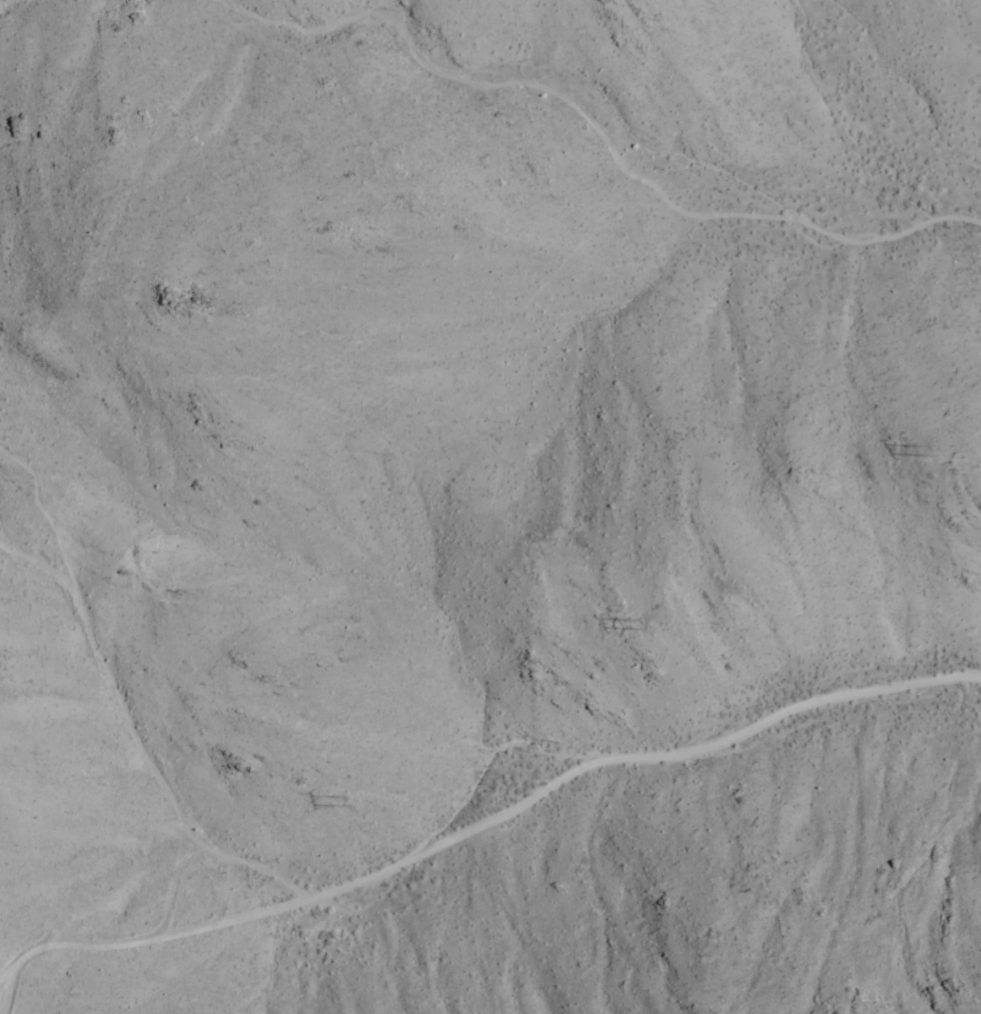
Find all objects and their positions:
power tower: (936, 453)
power tower: (654, 624)
power tower: (364, 802)
road: (487, 831)

